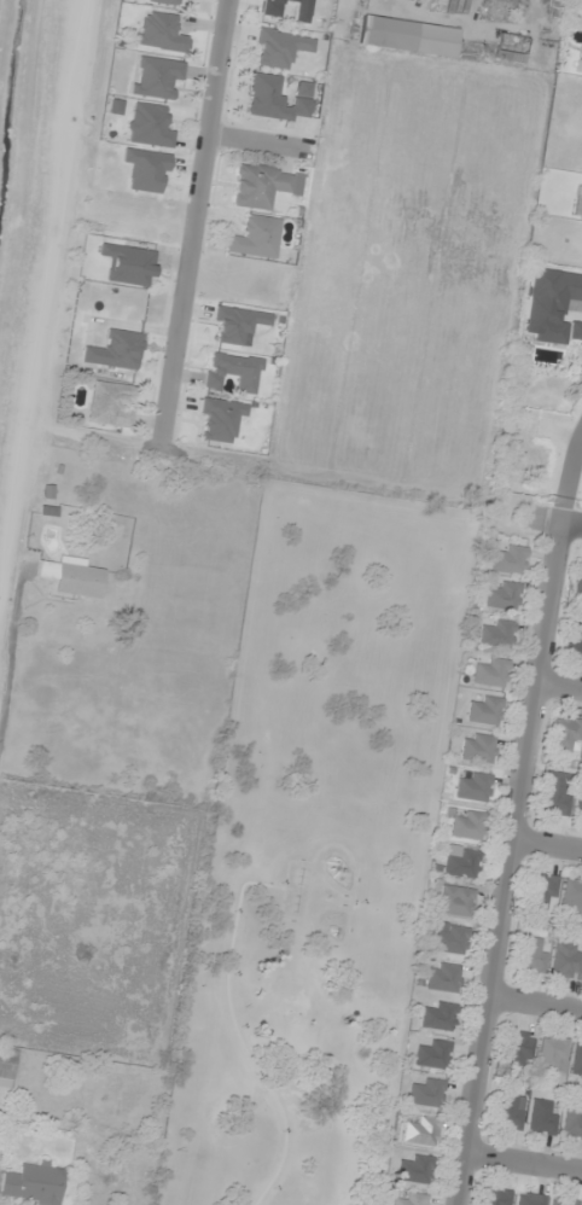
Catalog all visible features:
building: (165, 2)
building: (161, 33)
building: (407, 36)
building: (278, 48)
building: (156, 77)
building: (278, 98)
building: (147, 126)
road: (258, 141)
building: (147, 170)
building: (262, 185)
road: (193, 219)
building: (255, 238)
building: (129, 264)
building: (116, 351)
building: (233, 372)
building: (110, 404)
building: (220, 419)
road: (569, 473)
road: (572, 519)
building: (508, 559)
building: (71, 576)
building: (578, 578)
building: (504, 596)
building: (499, 635)
building: (575, 641)
road: (10, 642)
building: (491, 673)
road: (558, 687)
building: (485, 710)
building: (566, 734)
building: (477, 749)
building: (472, 786)
building: (557, 793)
building: (578, 805)
building: (467, 825)
road: (548, 842)
park: (309, 851)
road: (511, 861)
building: (460, 862)
building: (543, 892)
building: (572, 897)
building: (455, 901)
building: (450, 938)
building: (532, 955)
building: (566, 960)
building: (443, 977)
road: (535, 1002)
building: (438, 1015)
road: (231, 1020)
building: (519, 1048)
building: (553, 1053)
building: (435, 1054)
building: (577, 1059)
building: (6, 1070)
building: (429, 1093)
building: (510, 1111)
building: (543, 1117)
building: (572, 1122)
building: (423, 1131)
road: (523, 1162)
building: (417, 1169)
building: (35, 1183)
building: (495, 1197)
building: (529, 1199)
building: (413, 1200)
building: (563, 1201)

